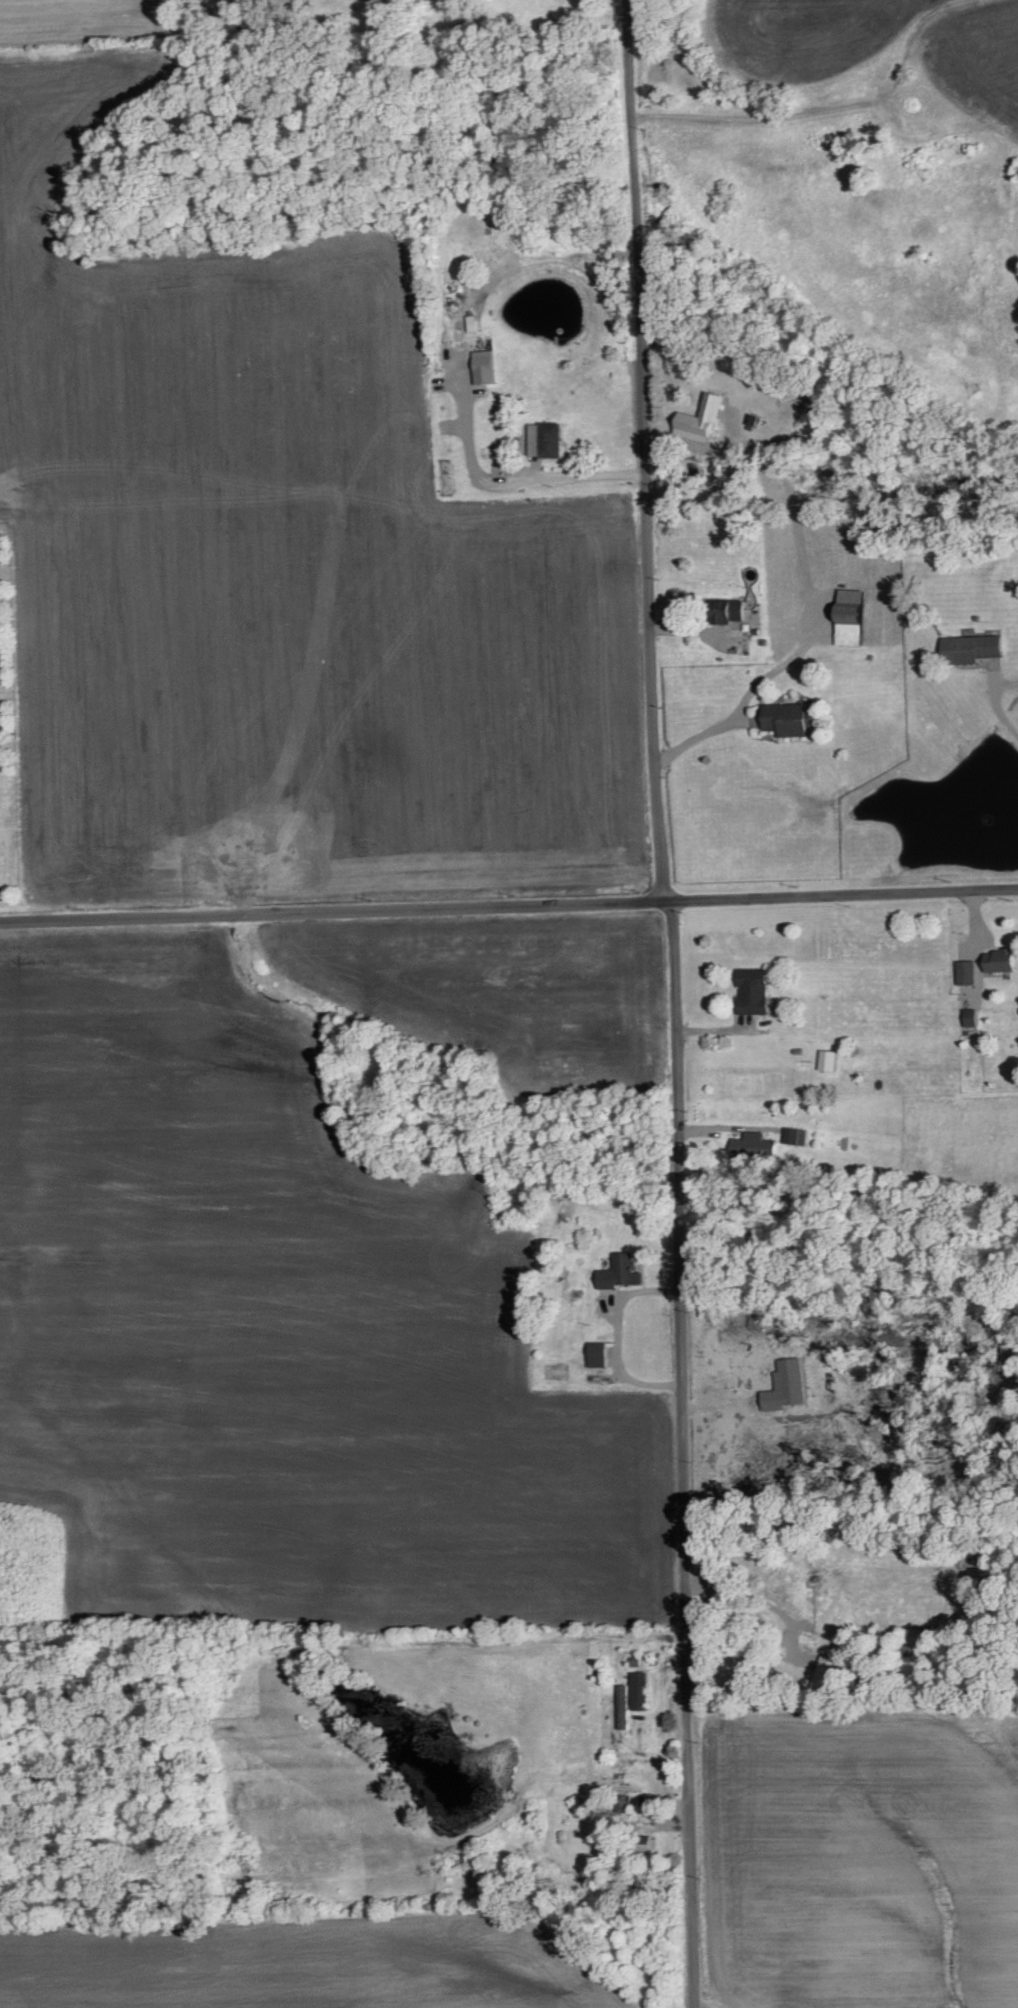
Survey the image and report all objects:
road: (756, 118)
building: (485, 368)
building: (693, 427)
building: (546, 440)
road: (648, 453)
building: (728, 611)
building: (851, 618)
building: (972, 649)
road: (1002, 714)
building: (787, 719)
road: (711, 747)
road: (847, 903)
road: (671, 907)
road: (332, 912)
building: (1003, 961)
building: (967, 973)
building: (753, 992)
building: (971, 1018)
building: (828, 1061)
building: (620, 1273)
building: (598, 1355)
building: (792, 1374)
road: (683, 1457)
building: (827, 1675)
building: (640, 1692)
building: (623, 1708)

